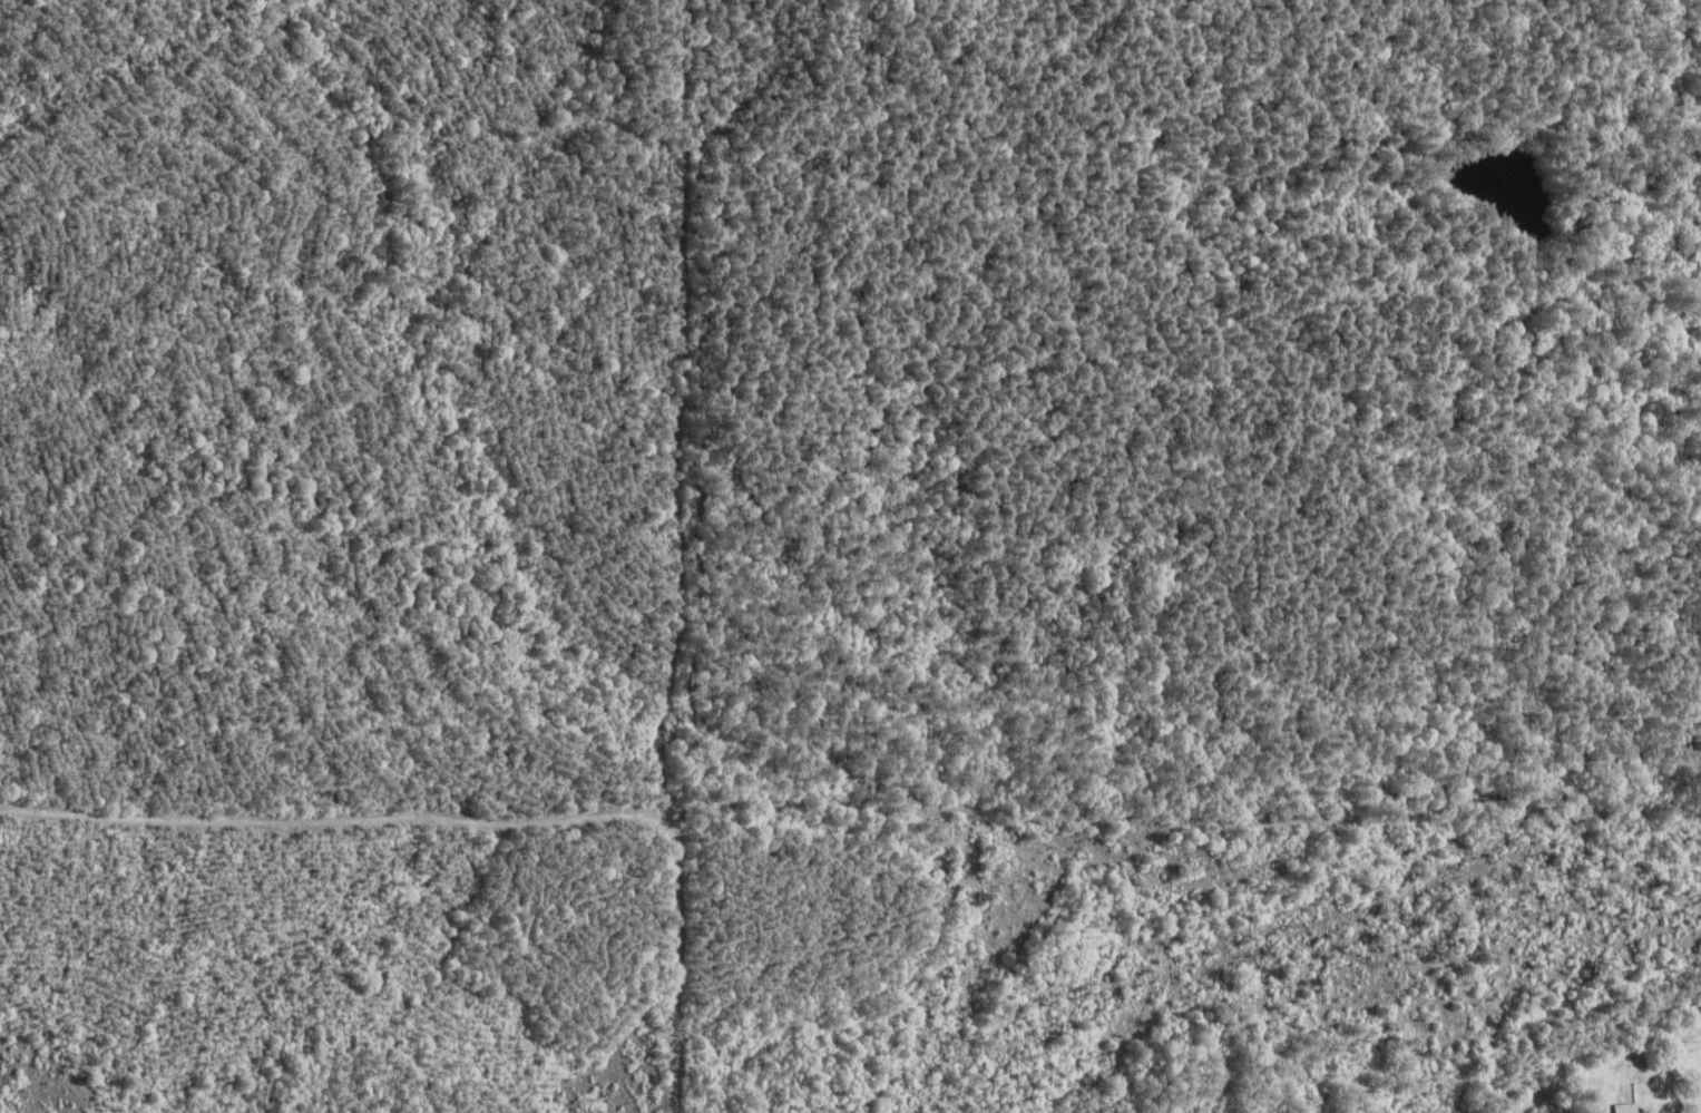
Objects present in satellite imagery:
building: (1631, 1107)

